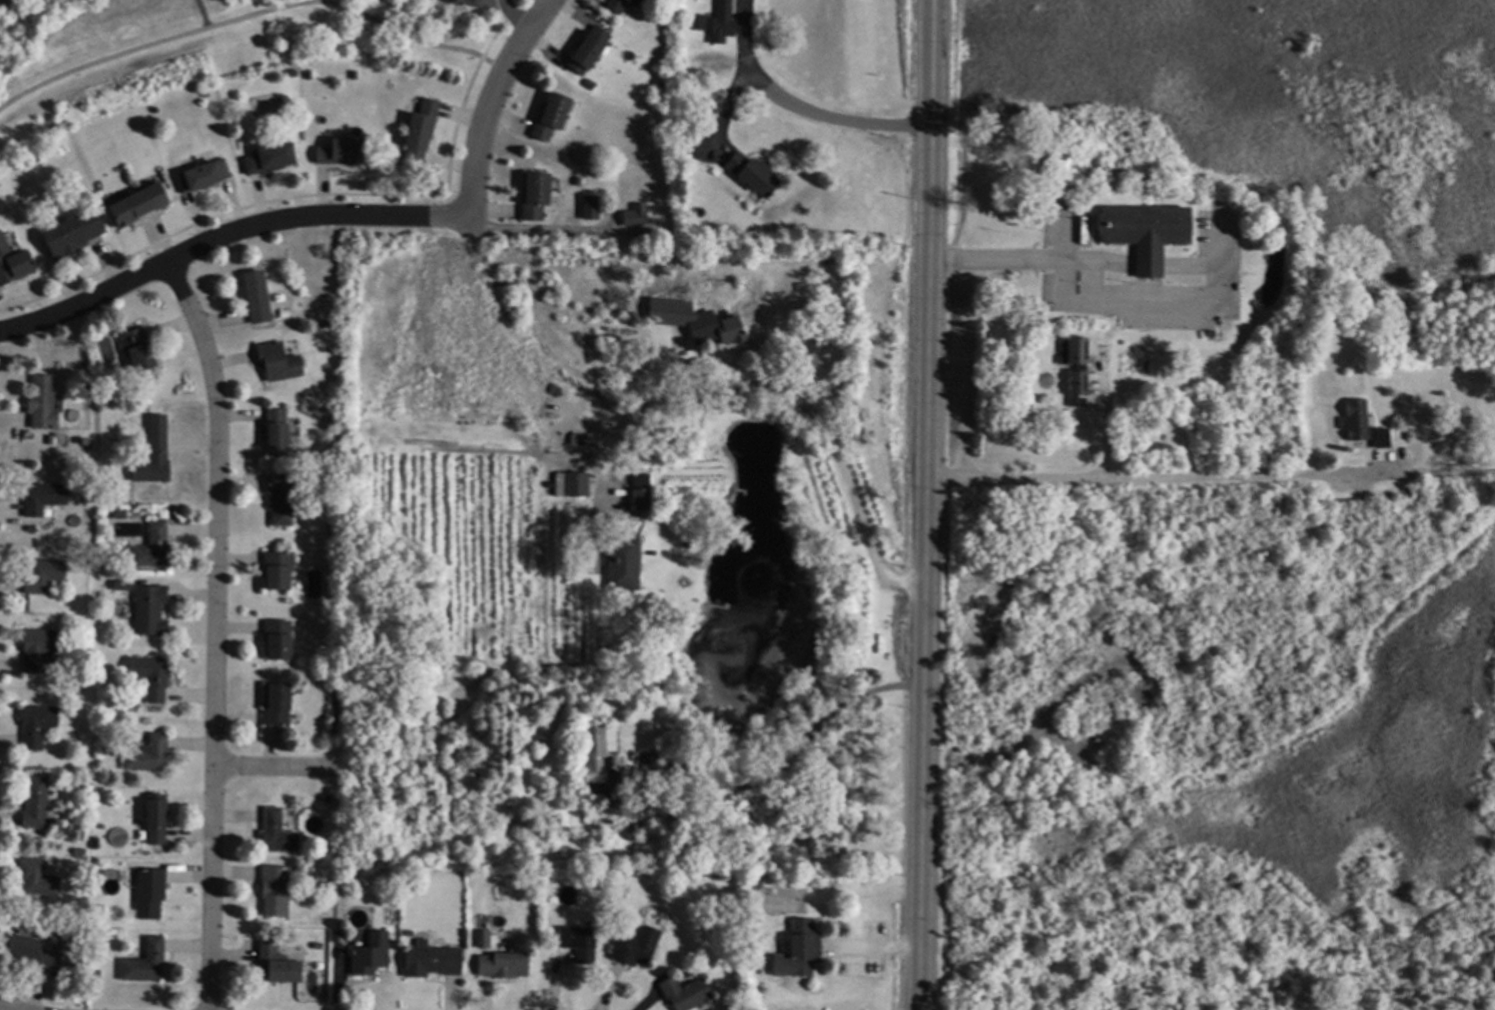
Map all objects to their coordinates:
building: (469, 2)
building: (621, 4)
road: (201, 13)
road: (250, 15)
road: (515, 16)
building: (698, 21)
building: (724, 22)
building: (590, 49)
park: (186, 53)
building: (293, 72)
building: (355, 74)
building: (310, 75)
building: (590, 84)
building: (281, 100)
road: (489, 102)
road: (797, 110)
road: (721, 114)
building: (552, 115)
building: (418, 137)
building: (341, 151)
building: (271, 158)
building: (755, 173)
building: (204, 175)
building: (1153, 189)
building: (536, 195)
building: (139, 204)
building: (592, 207)
building: (636, 215)
building: (74, 233)
building: (1143, 233)
road: (225, 237)
building: (14, 264)
building: (258, 296)
road: (1093, 304)
building: (696, 320)
building: (1207, 334)
building: (140, 348)
building: (279, 361)
building: (1074, 368)
road: (928, 370)
building: (109, 398)
road: (793, 398)
building: (44, 403)
road: (1103, 417)
building: (1360, 425)
building: (279, 432)
building: (52, 439)
building: (335, 455)
building: (155, 457)
road: (1210, 475)
building: (111, 482)
building: (572, 483)
building: (642, 491)
building: (46, 497)
building: (282, 499)
building: (34, 528)
building: (154, 547)
building: (111, 563)
building: (624, 564)
building: (280, 569)
building: (44, 575)
building: (430, 576)
building: (423, 602)
building: (151, 610)
building: (129, 632)
road: (215, 632)
building: (279, 640)
building: (40, 647)
building: (151, 675)
building: (278, 704)
building: (134, 705)
building: (38, 723)
building: (149, 753)
building: (596, 754)
road: (785, 762)
road: (275, 769)
building: (328, 798)
building: (37, 804)
building: (623, 805)
building: (157, 818)
building: (277, 833)
building: (79, 851)
road: (920, 875)
building: (38, 878)
building: (757, 882)
building: (276, 890)
building: (151, 893)
building: (102, 909)
building: (409, 933)
building: (337, 937)
building: (483, 939)
building: (579, 942)
building: (318, 945)
building: (637, 946)
building: (805, 946)
building: (34, 951)
building: (372, 954)
building: (432, 960)
building: (146, 961)
building: (278, 965)
building: (504, 965)
building: (97, 971)
building: (77, 980)
road: (606, 988)
building: (685, 993)
road: (2, 1008)

